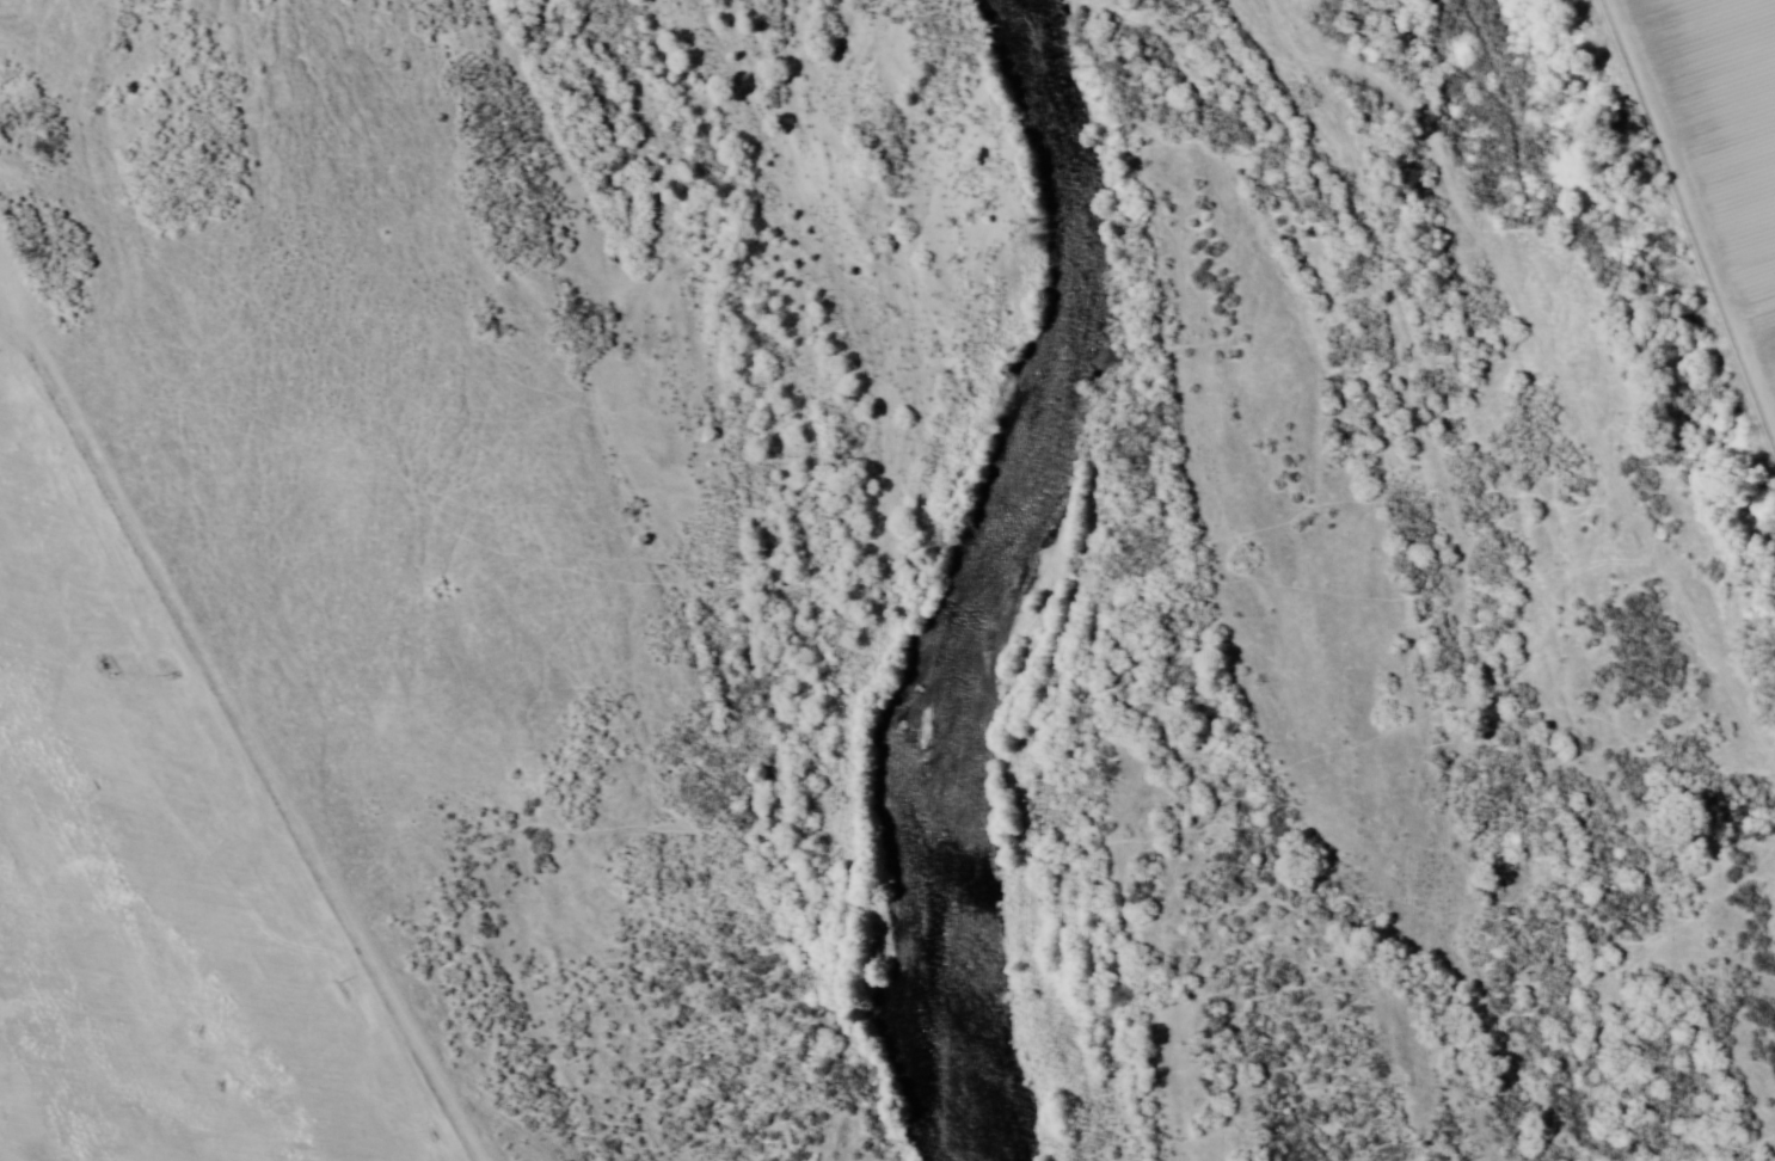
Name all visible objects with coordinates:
crop: (1730, 125)
road: (1706, 239)
river: (985, 572)
road: (471, 1085)
road: (747, 1137)

